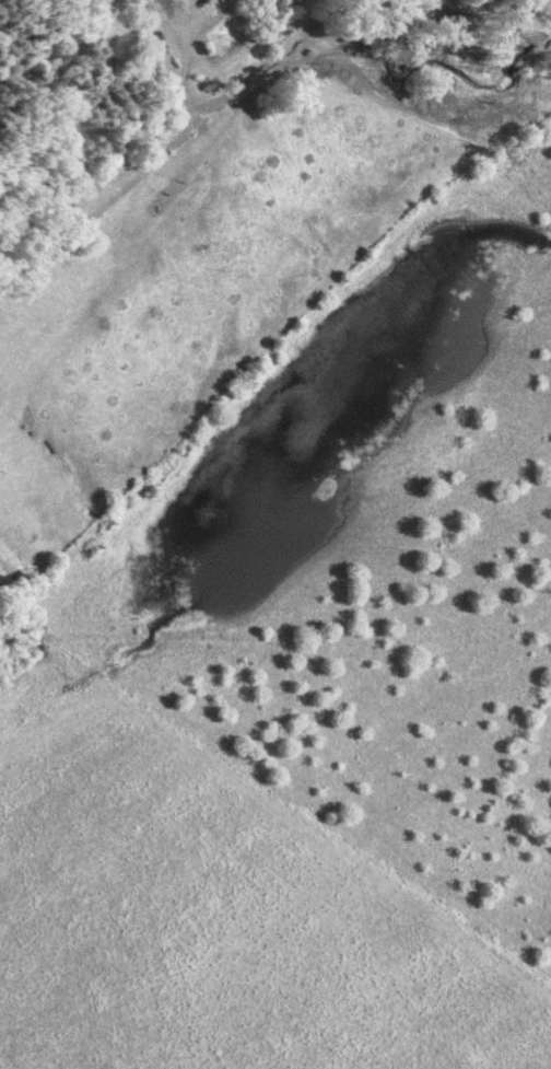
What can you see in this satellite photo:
road: (169, 61)
road: (164, 150)

